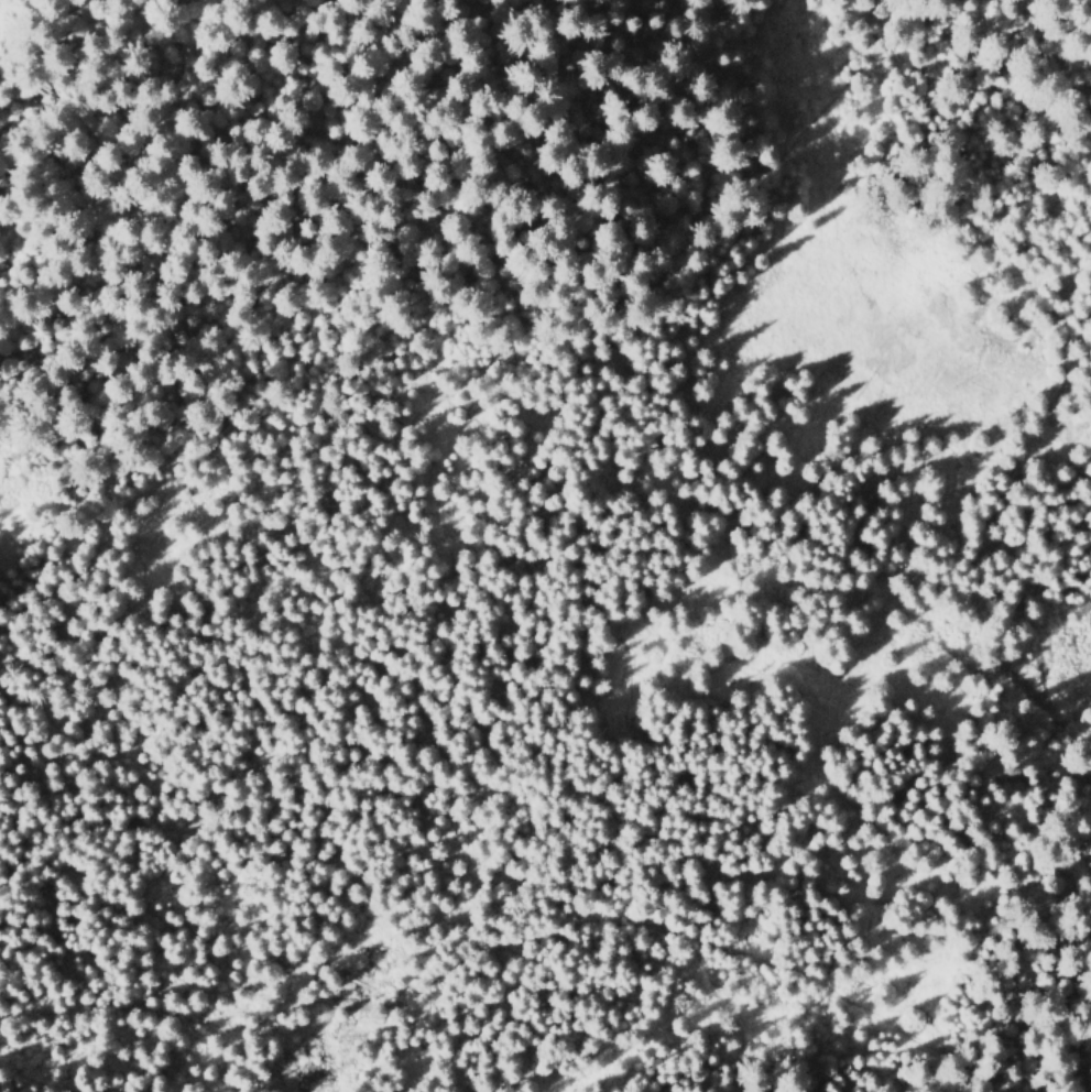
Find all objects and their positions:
road: (647, 920)
road: (844, 1061)

